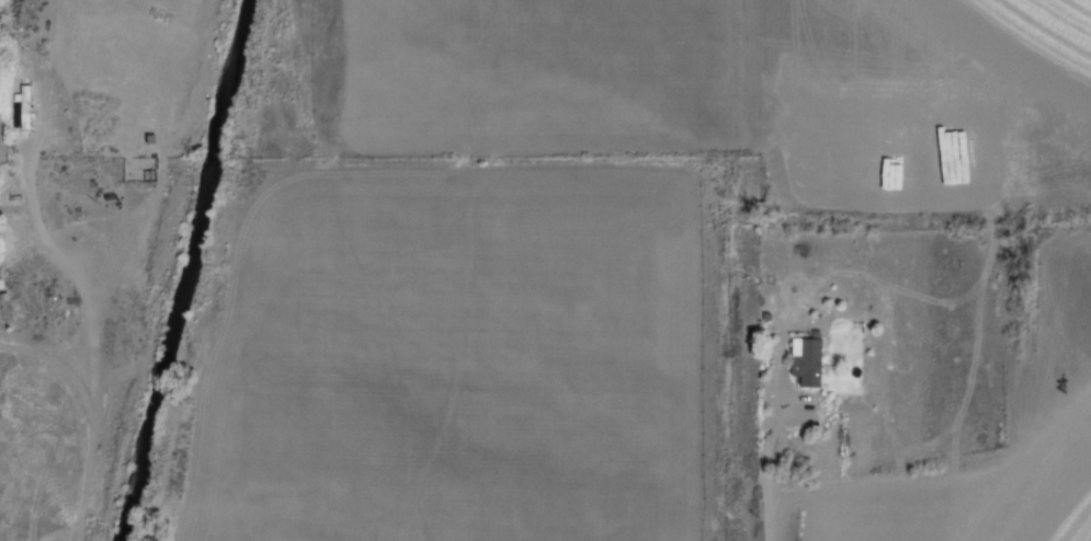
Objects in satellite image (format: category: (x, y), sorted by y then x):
building: (23, 110)
crop: (605, 262)
road: (61, 273)
building: (815, 366)
road: (77, 419)
road: (757, 454)

